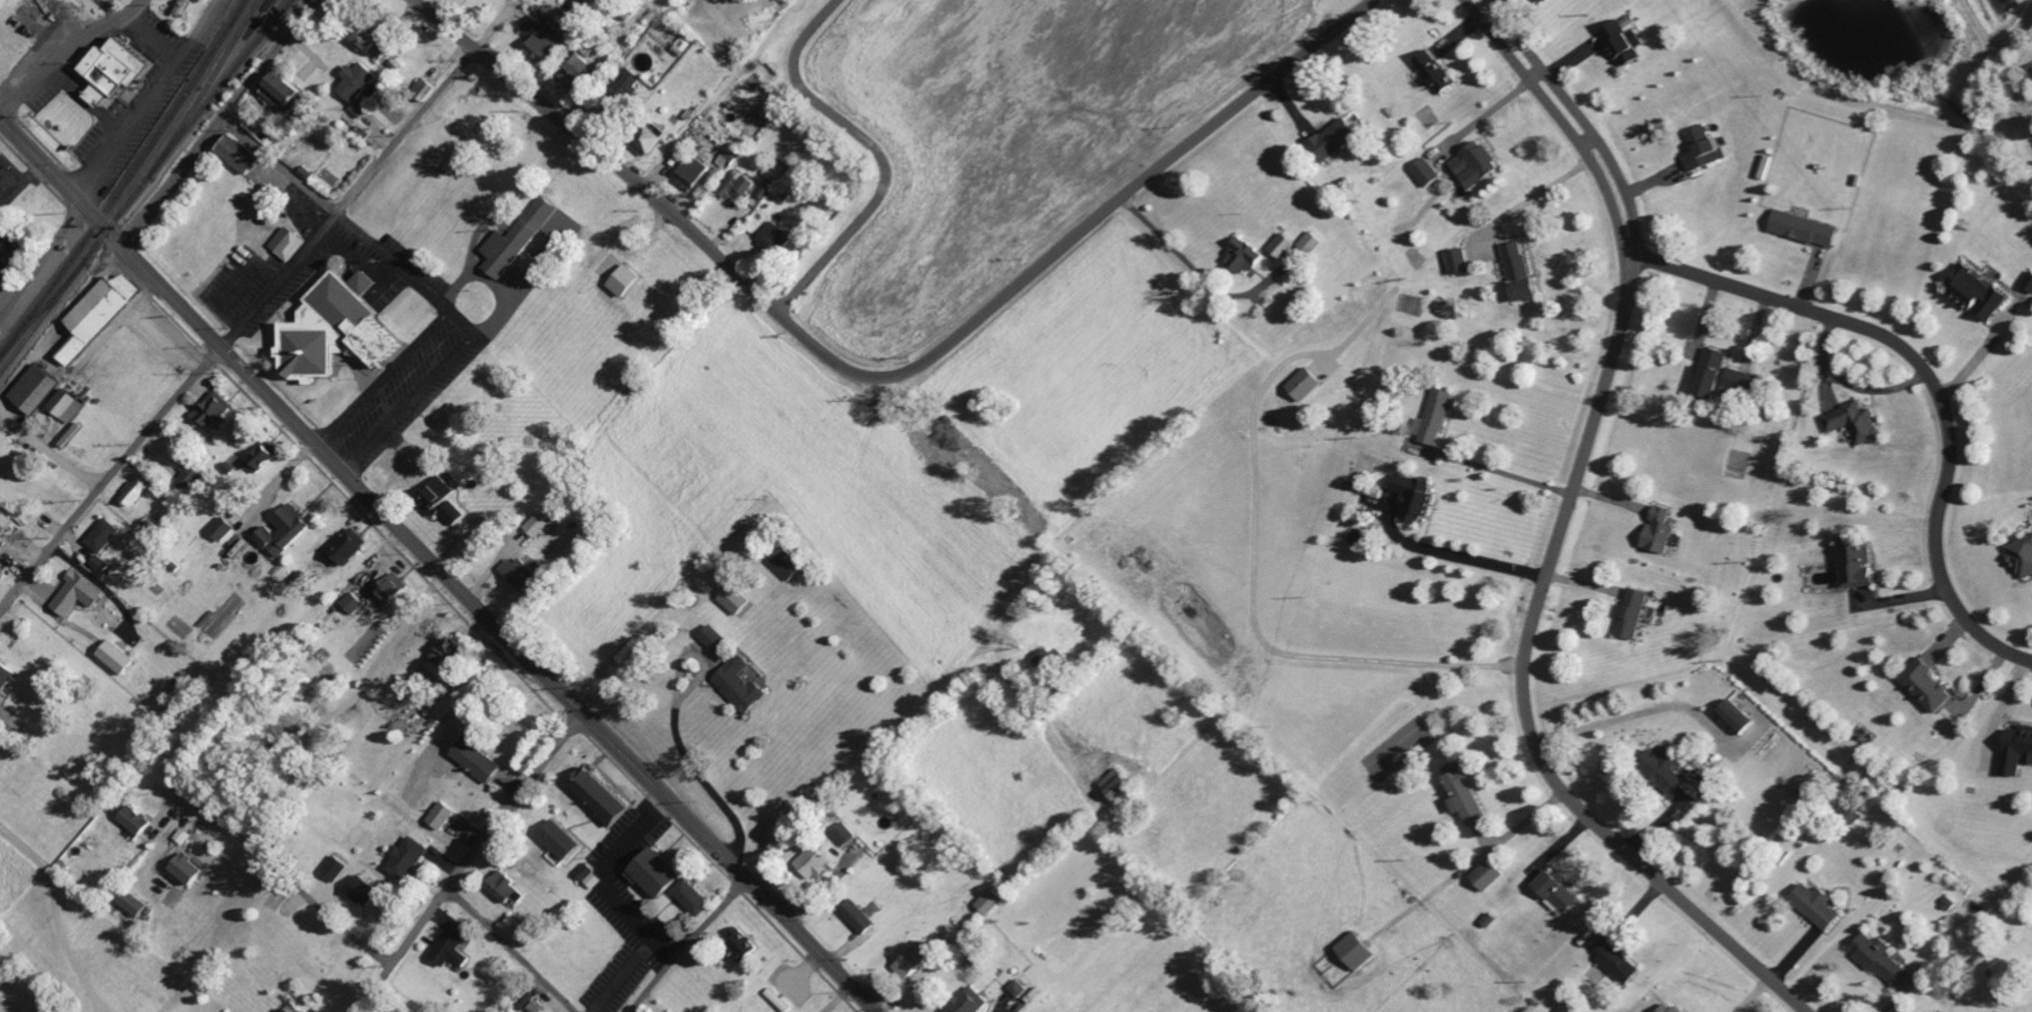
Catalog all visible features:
building: (1542, 0)
building: (184, 6)
road: (66, 16)
road: (151, 34)
building: (545, 38)
building: (1619, 41)
building: (377, 42)
building: (683, 45)
road: (65, 48)
building: (2030, 68)
building: (121, 70)
building: (1433, 71)
building: (583, 74)
building: (360, 85)
railway: (216, 89)
building: (290, 93)
road: (147, 99)
road: (1486, 115)
road: (1580, 119)
road: (1558, 120)
road: (217, 121)
building: (1326, 142)
building: (1699, 147)
road: (883, 152)
building: (244, 154)
road: (37, 159)
road: (279, 163)
building: (1470, 163)
building: (1421, 170)
building: (696, 174)
building: (748, 184)
railway: (137, 189)
road: (1536, 193)
road: (347, 199)
building: (1799, 227)
building: (521, 238)
building: (289, 242)
building: (1292, 244)
building: (11, 252)
building: (1241, 255)
building: (1455, 256)
road: (359, 258)
road: (41, 264)
building: (1512, 269)
road: (1195, 271)
road: (409, 273)
building: (628, 279)
road: (525, 281)
building: (1971, 292)
road: (7, 298)
building: (103, 312)
road: (116, 324)
building: (342, 326)
road: (1973, 362)
road: (18, 372)
road: (887, 372)
building: (1704, 372)
road: (381, 378)
road: (1927, 381)
building: (1298, 383)
building: (39, 387)
building: (69, 404)
road: (409, 405)
building: (216, 409)
building: (1430, 417)
building: (1850, 421)
building: (266, 455)
road: (1507, 470)
road: (107, 475)
building: (190, 475)
building: (1409, 496)
building: (132, 500)
building: (453, 504)
building: (6, 520)
building: (541, 524)
building: (224, 528)
building: (288, 529)
building: (1653, 530)
building: (106, 534)
building: (352, 546)
building: (2020, 554)
road: (1460, 555)
building: (1851, 562)
building: (103, 563)
building: (791, 564)
building: (520, 571)
building: (81, 592)
building: (391, 594)
building: (739, 598)
building: (355, 601)
road: (472, 607)
building: (1627, 612)
building: (720, 638)
building: (120, 655)
building: (6, 674)
building: (744, 683)
building: (1921, 684)
road: (1523, 685)
road: (1998, 711)
road: (1628, 714)
building: (1730, 715)
road: (676, 728)
building: (2013, 748)
building: (480, 759)
road: (916, 765)
building: (1656, 770)
building: (604, 796)
building: (1459, 796)
building: (444, 814)
building: (138, 819)
building: (840, 833)
building: (562, 838)
building: (409, 858)
road: (464, 861)
building: (809, 862)
building: (189, 867)
building: (337, 867)
building: (1485, 878)
building: (671, 879)
road: (612, 882)
road: (291, 883)
building: (510, 887)
building: (365, 890)
building: (1551, 891)
building: (986, 901)
building: (134, 902)
building: (1811, 905)
building: (852, 915)
road: (53, 920)
building: (519, 928)
building: (747, 943)
building: (455, 944)
road: (685, 944)
road: (509, 948)
building: (1349, 950)
building: (1873, 956)
building: (905, 961)
building: (1612, 961)
building: (1015, 987)
building: (964, 1001)
building: (1664, 1007)
building: (293, 1009)

